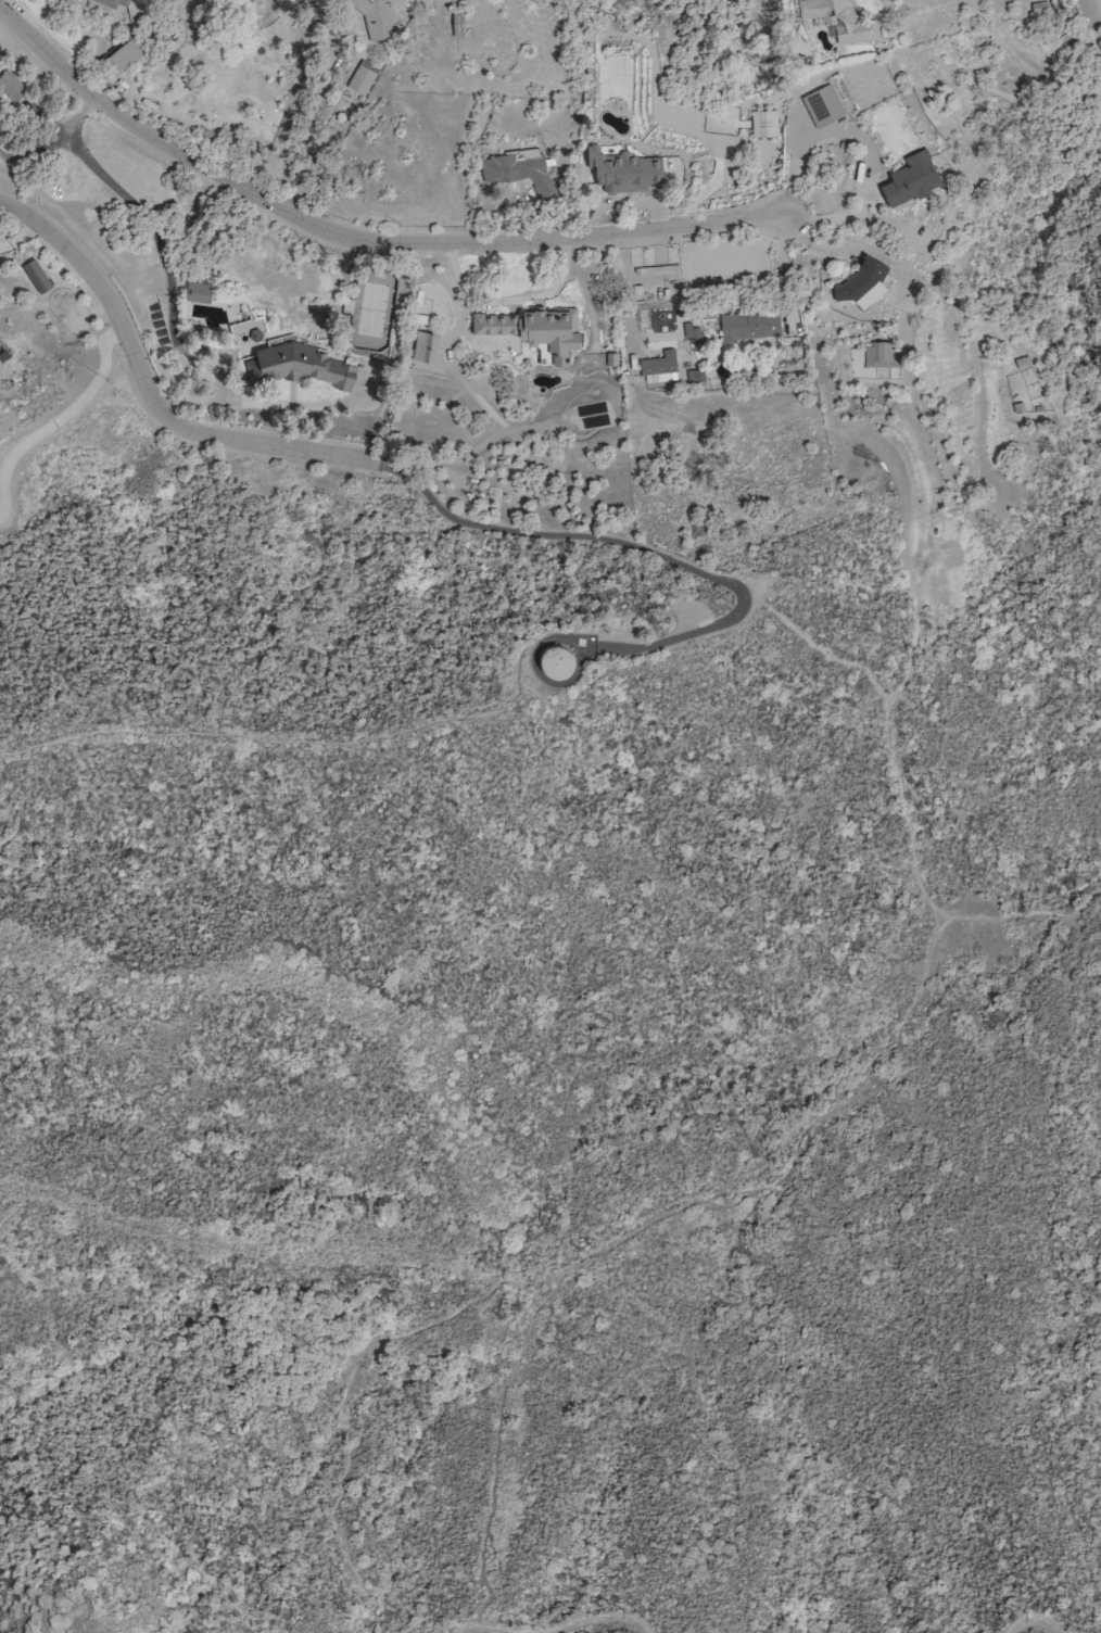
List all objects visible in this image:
building: (112, 2)
road: (1090, 2)
building: (1038, 7)
road: (1096, 15)
building: (376, 16)
building: (840, 18)
building: (121, 55)
building: (360, 76)
building: (10, 85)
building: (762, 123)
building: (3, 134)
road: (860, 138)
road: (302, 139)
building: (622, 169)
building: (516, 170)
building: (910, 177)
road: (360, 238)
road: (157, 244)
road: (832, 248)
building: (35, 276)
building: (860, 282)
building: (197, 291)
road: (505, 299)
building: (748, 325)
building: (533, 328)
building: (425, 346)
building: (879, 354)
building: (295, 365)
building: (657, 367)
road: (144, 393)
road: (269, 405)
road: (71, 408)
road: (962, 491)
road: (0, 505)
road: (642, 550)
road: (918, 610)
building: (555, 660)
storage tank: (555, 660)
road: (886, 721)
road: (344, 746)
road: (643, 1219)
road: (495, 1450)
road: (1034, 1618)
road: (605, 1619)
road: (484, 1628)

